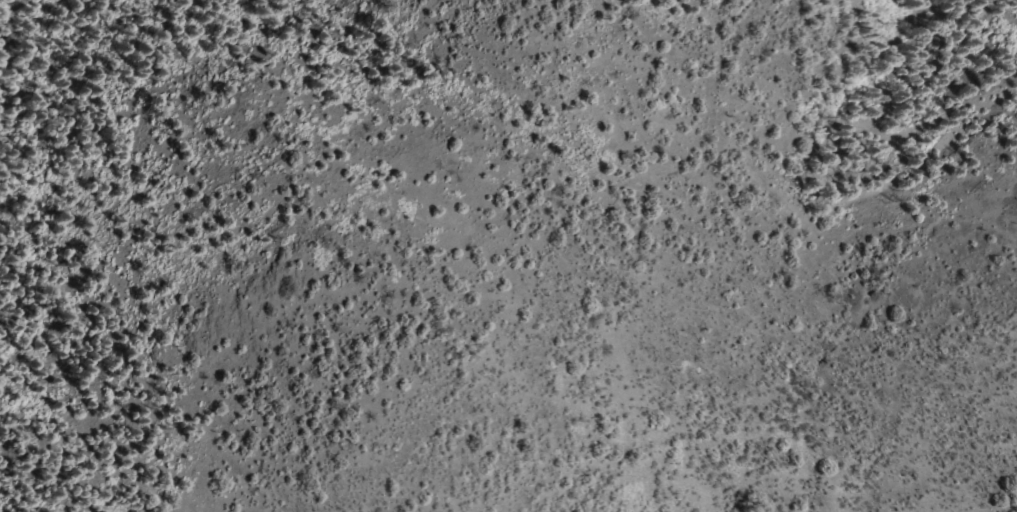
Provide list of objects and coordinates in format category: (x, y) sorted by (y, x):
road: (904, 172)

